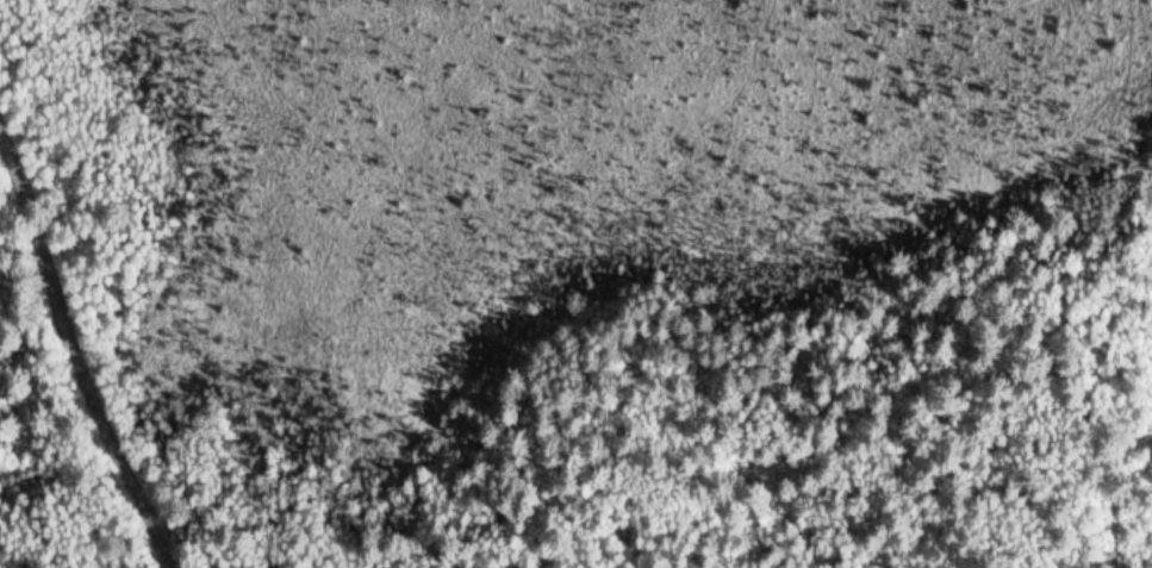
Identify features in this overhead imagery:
road: (82, 357)

